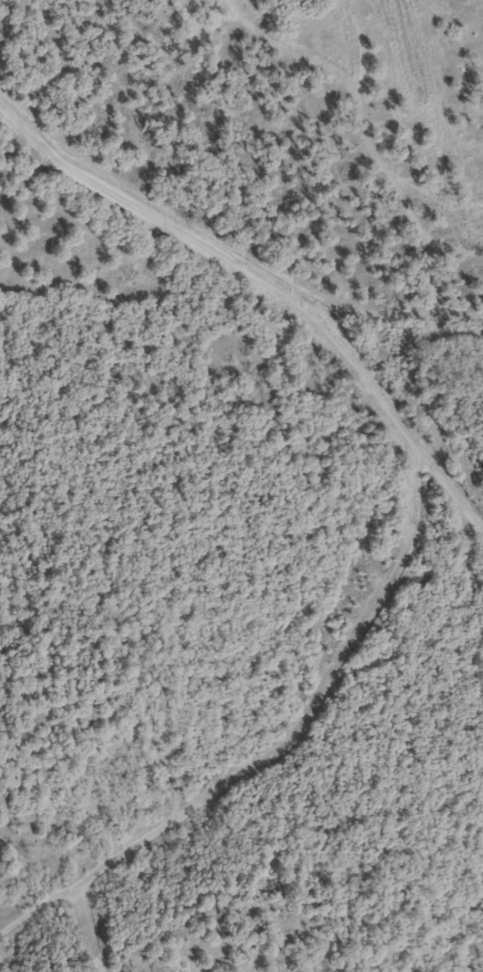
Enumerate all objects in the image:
road: (418, 513)
road: (104, 927)

